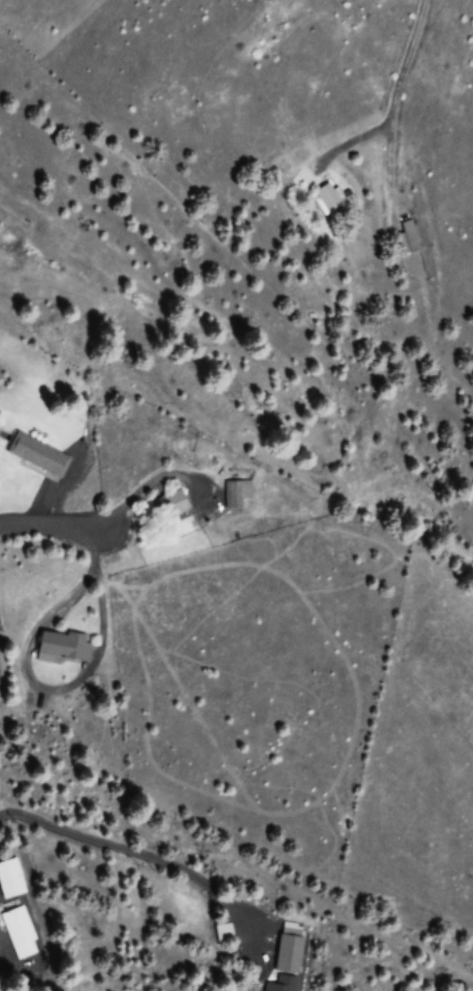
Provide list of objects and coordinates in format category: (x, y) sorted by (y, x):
road: (394, 104)
building: (328, 202)
building: (405, 239)
building: (35, 454)
building: (236, 493)
building: (174, 503)
road: (53, 528)
building: (62, 648)
building: (10, 879)
building: (19, 933)
building: (287, 953)
building: (280, 984)

